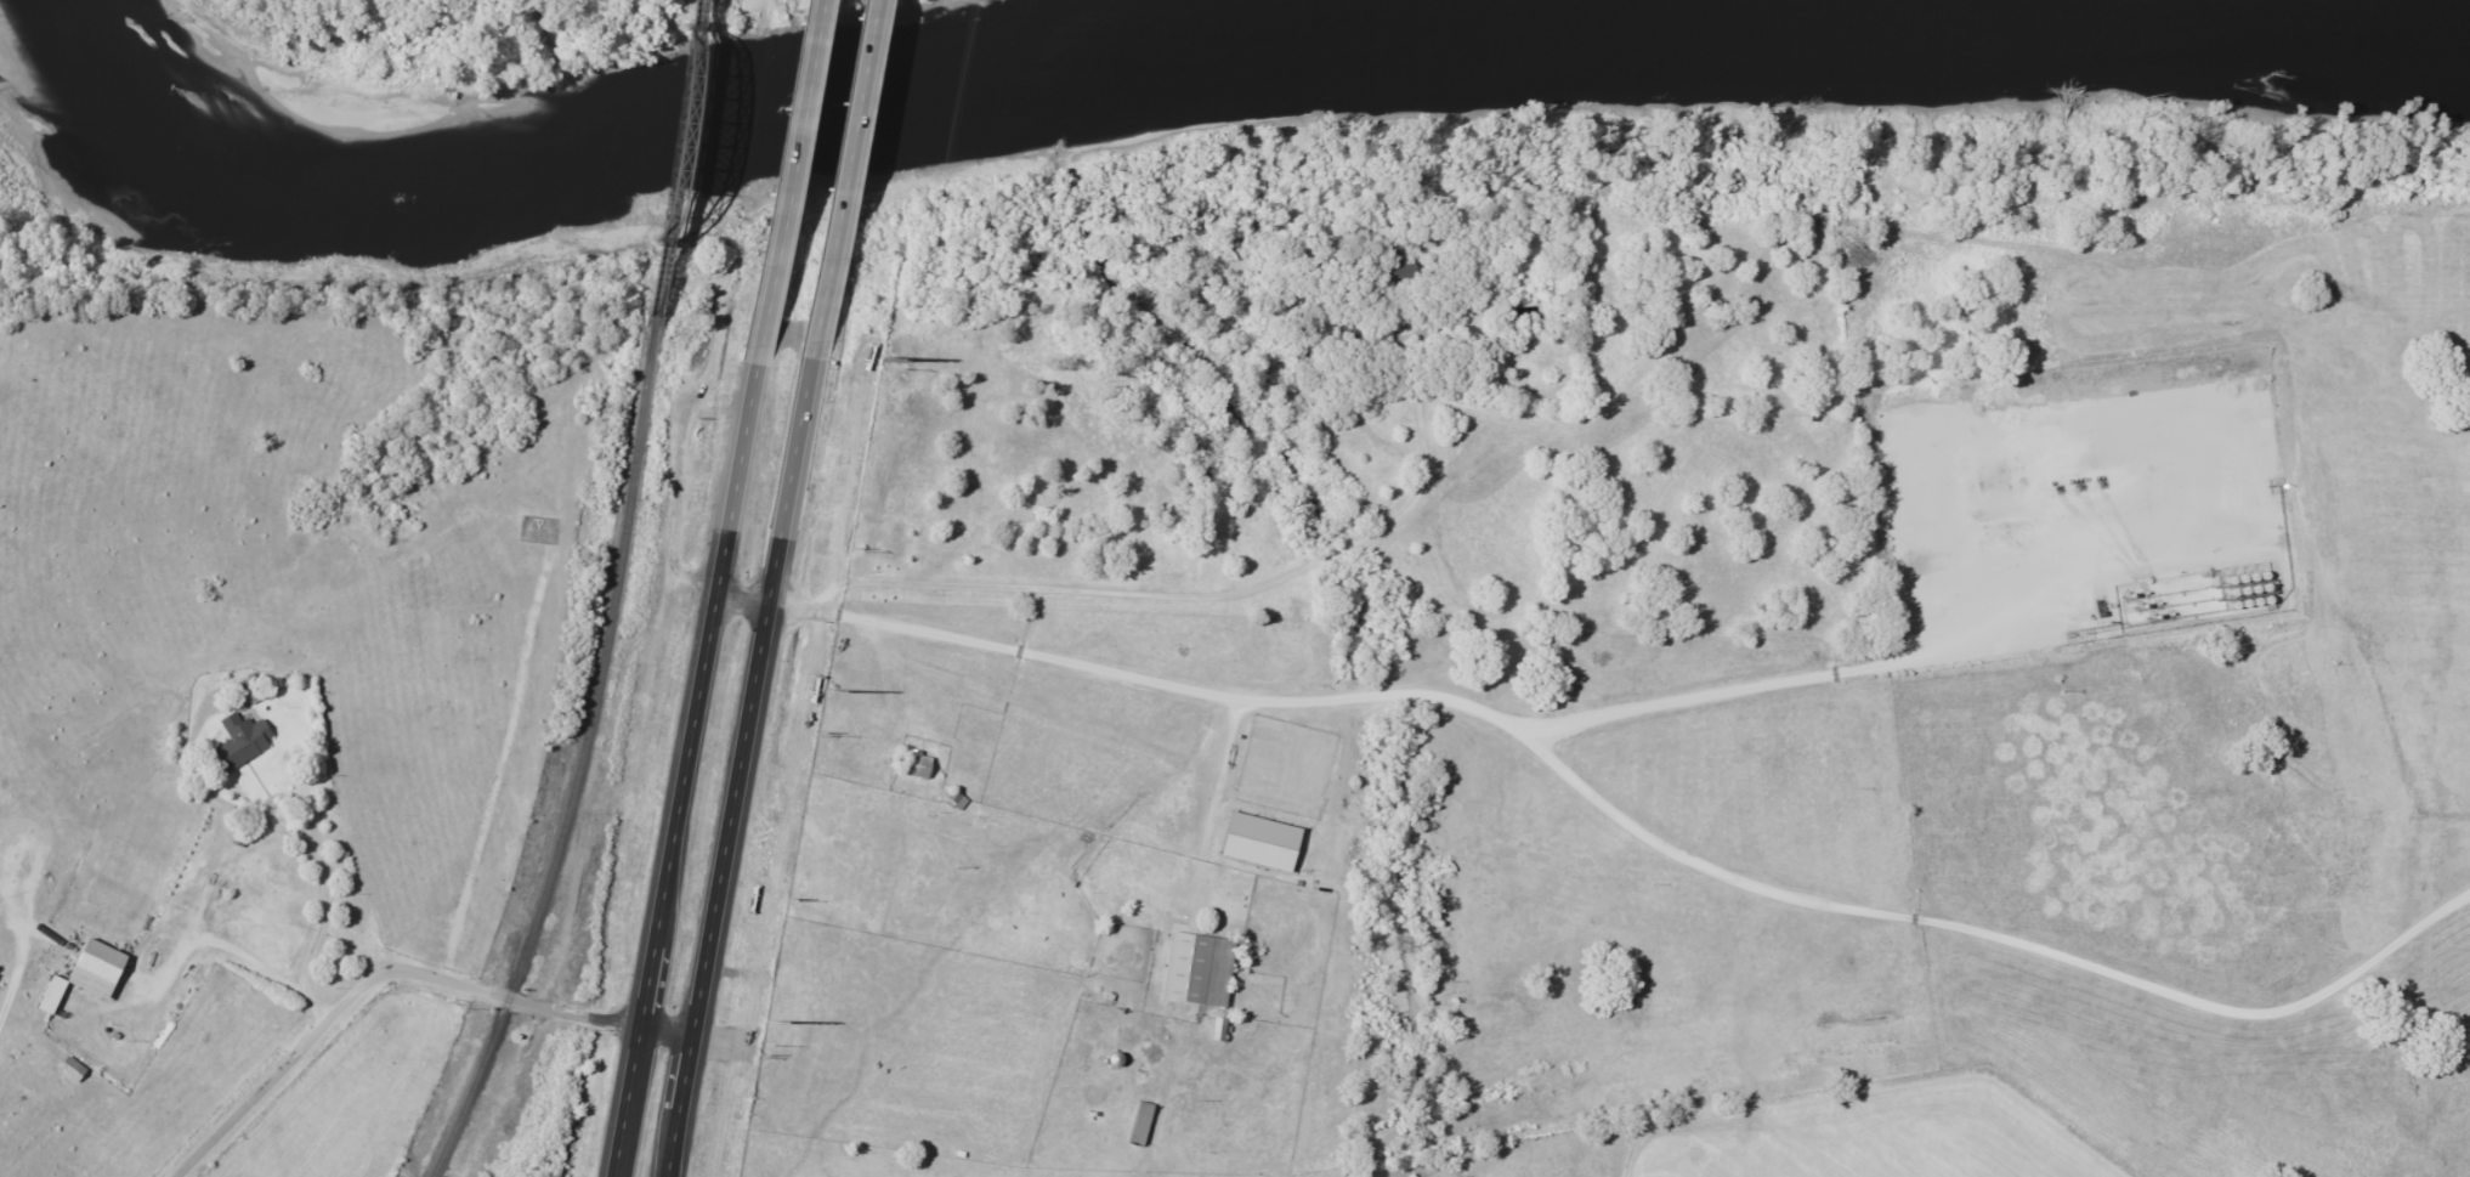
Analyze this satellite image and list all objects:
river: (1222, 62)
railway: (674, 157)
road: (842, 170)
road: (786, 175)
road: (744, 601)
building: (245, 740)
railway: (578, 756)
road: (742, 759)
road: (686, 764)
building: (922, 764)
road: (1627, 822)
road: (312, 933)
building: (102, 968)
building: (1203, 969)
road: (391, 971)
building: (1223, 1030)
building: (75, 1070)

